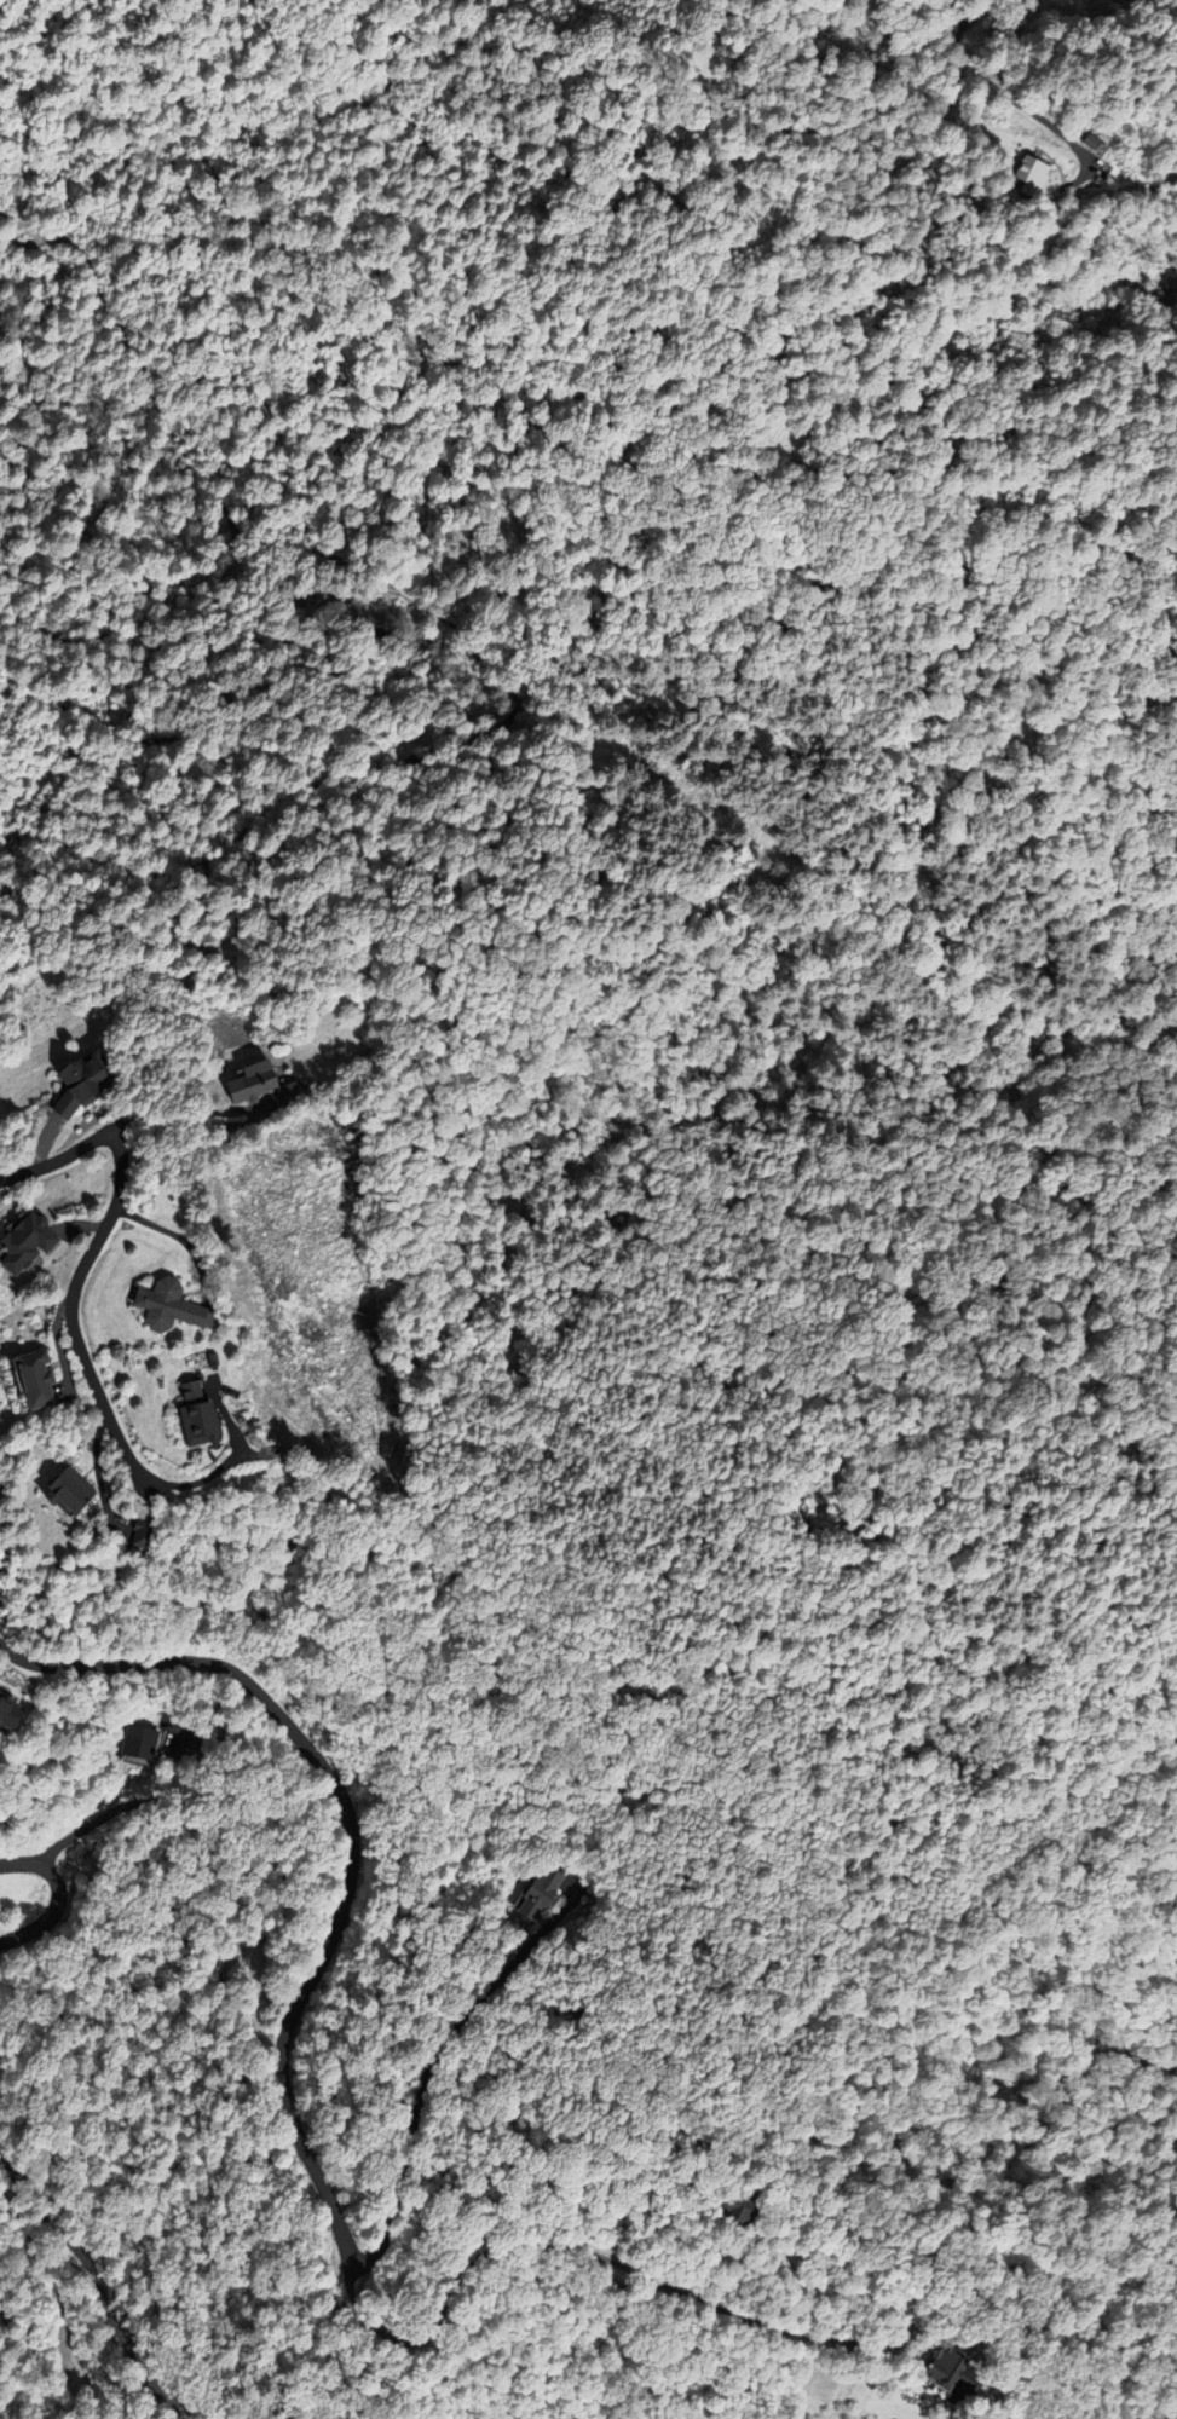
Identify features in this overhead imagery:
road: (947, 15)
road: (1008, 96)
building: (1084, 140)
building: (1025, 175)
building: (82, 1081)
building: (255, 1086)
road: (178, 1236)
building: (27, 1242)
road: (87, 1258)
building: (168, 1305)
building: (34, 1380)
building: (189, 1414)
building: (60, 1489)
building: (128, 1531)
building: (131, 1739)
road: (351, 1849)
building: (537, 1893)
road: (57, 1896)
building: (733, 2211)
road: (94, 2279)
building: (939, 2374)

